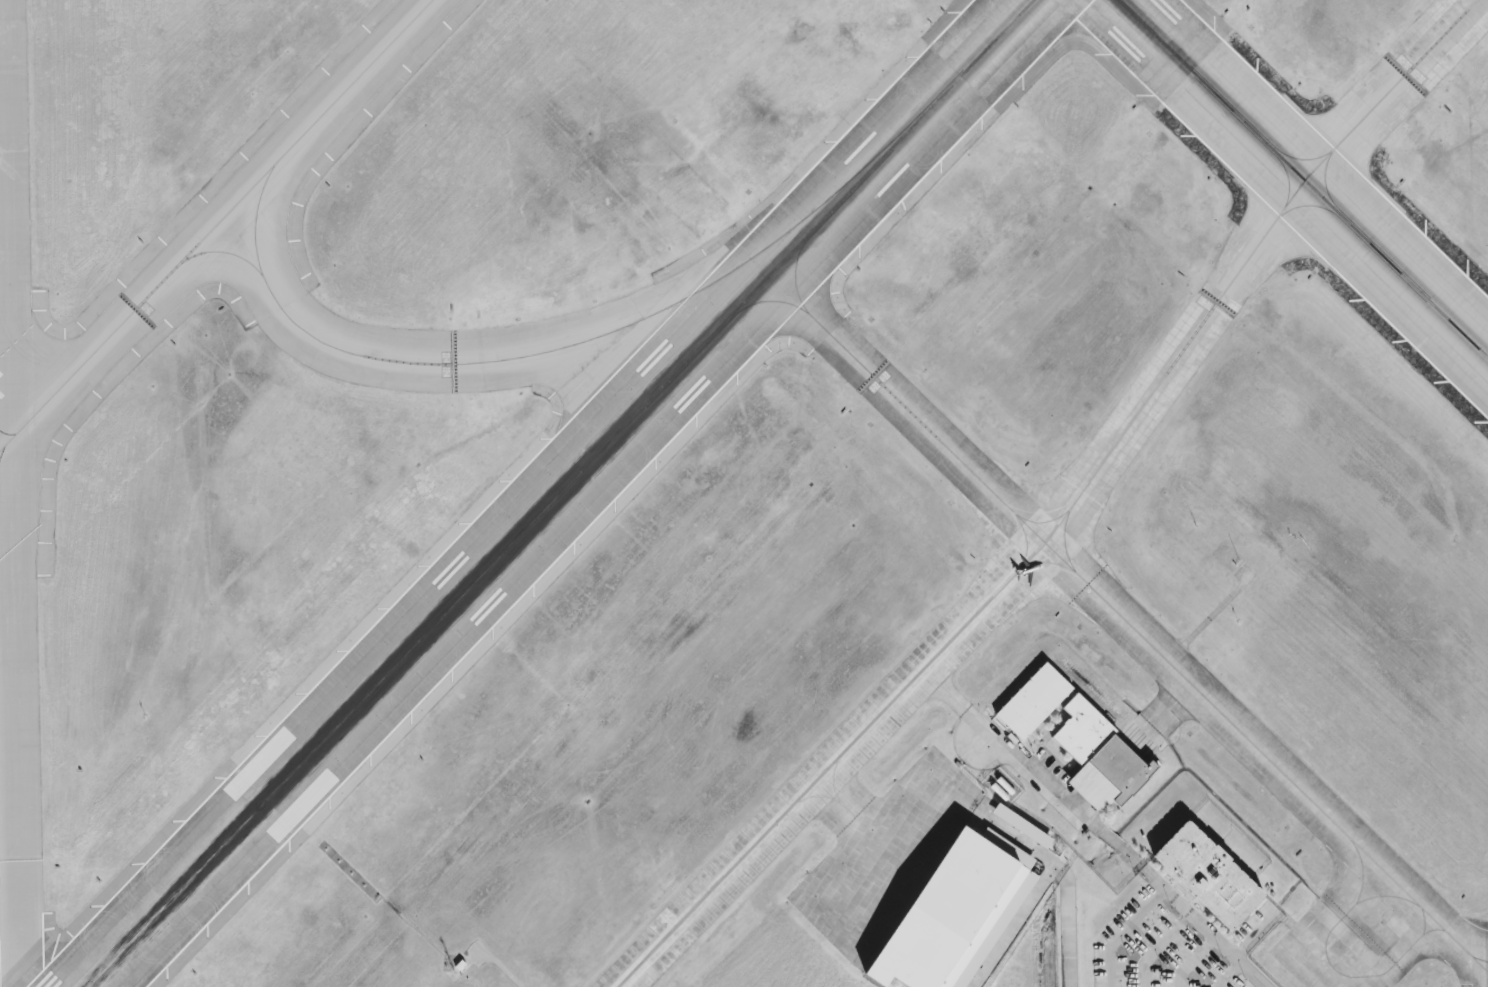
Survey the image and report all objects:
airport runway: (1303, 179)
airport taxiway: (841, 186)
airport taxiway: (215, 224)
airport taxiway: (220, 252)
airport taxiway: (795, 270)
airport taxiway: (748, 305)
airport taxiway: (399, 361)
airport runway: (558, 493)
airport: (744, 493)
airport taxiway: (1068, 510)
airport taxiway: (1042, 521)
airport taxiway: (1026, 539)
airport taxiway: (1064, 541)
airport taxiway: (1049, 561)
airport taxiway: (1148, 640)
road: (944, 690)
road: (1173, 704)
road: (989, 733)
building: (1100, 749)
road: (1113, 768)
road: (1041, 780)
airport taxiway: (832, 782)
airport taxiway: (828, 796)
building: (1022, 826)
road: (1017, 841)
airport apron: (884, 855)
building: (1205, 878)
building: (950, 916)
parking lot: (1260, 924)
road: (1204, 925)
road: (1066, 930)
road: (1123, 931)
parking lot: (1156, 949)
airport taxiway: (1407, 950)
airport apron: (1323, 959)
airport taxiway: (1479, 962)

